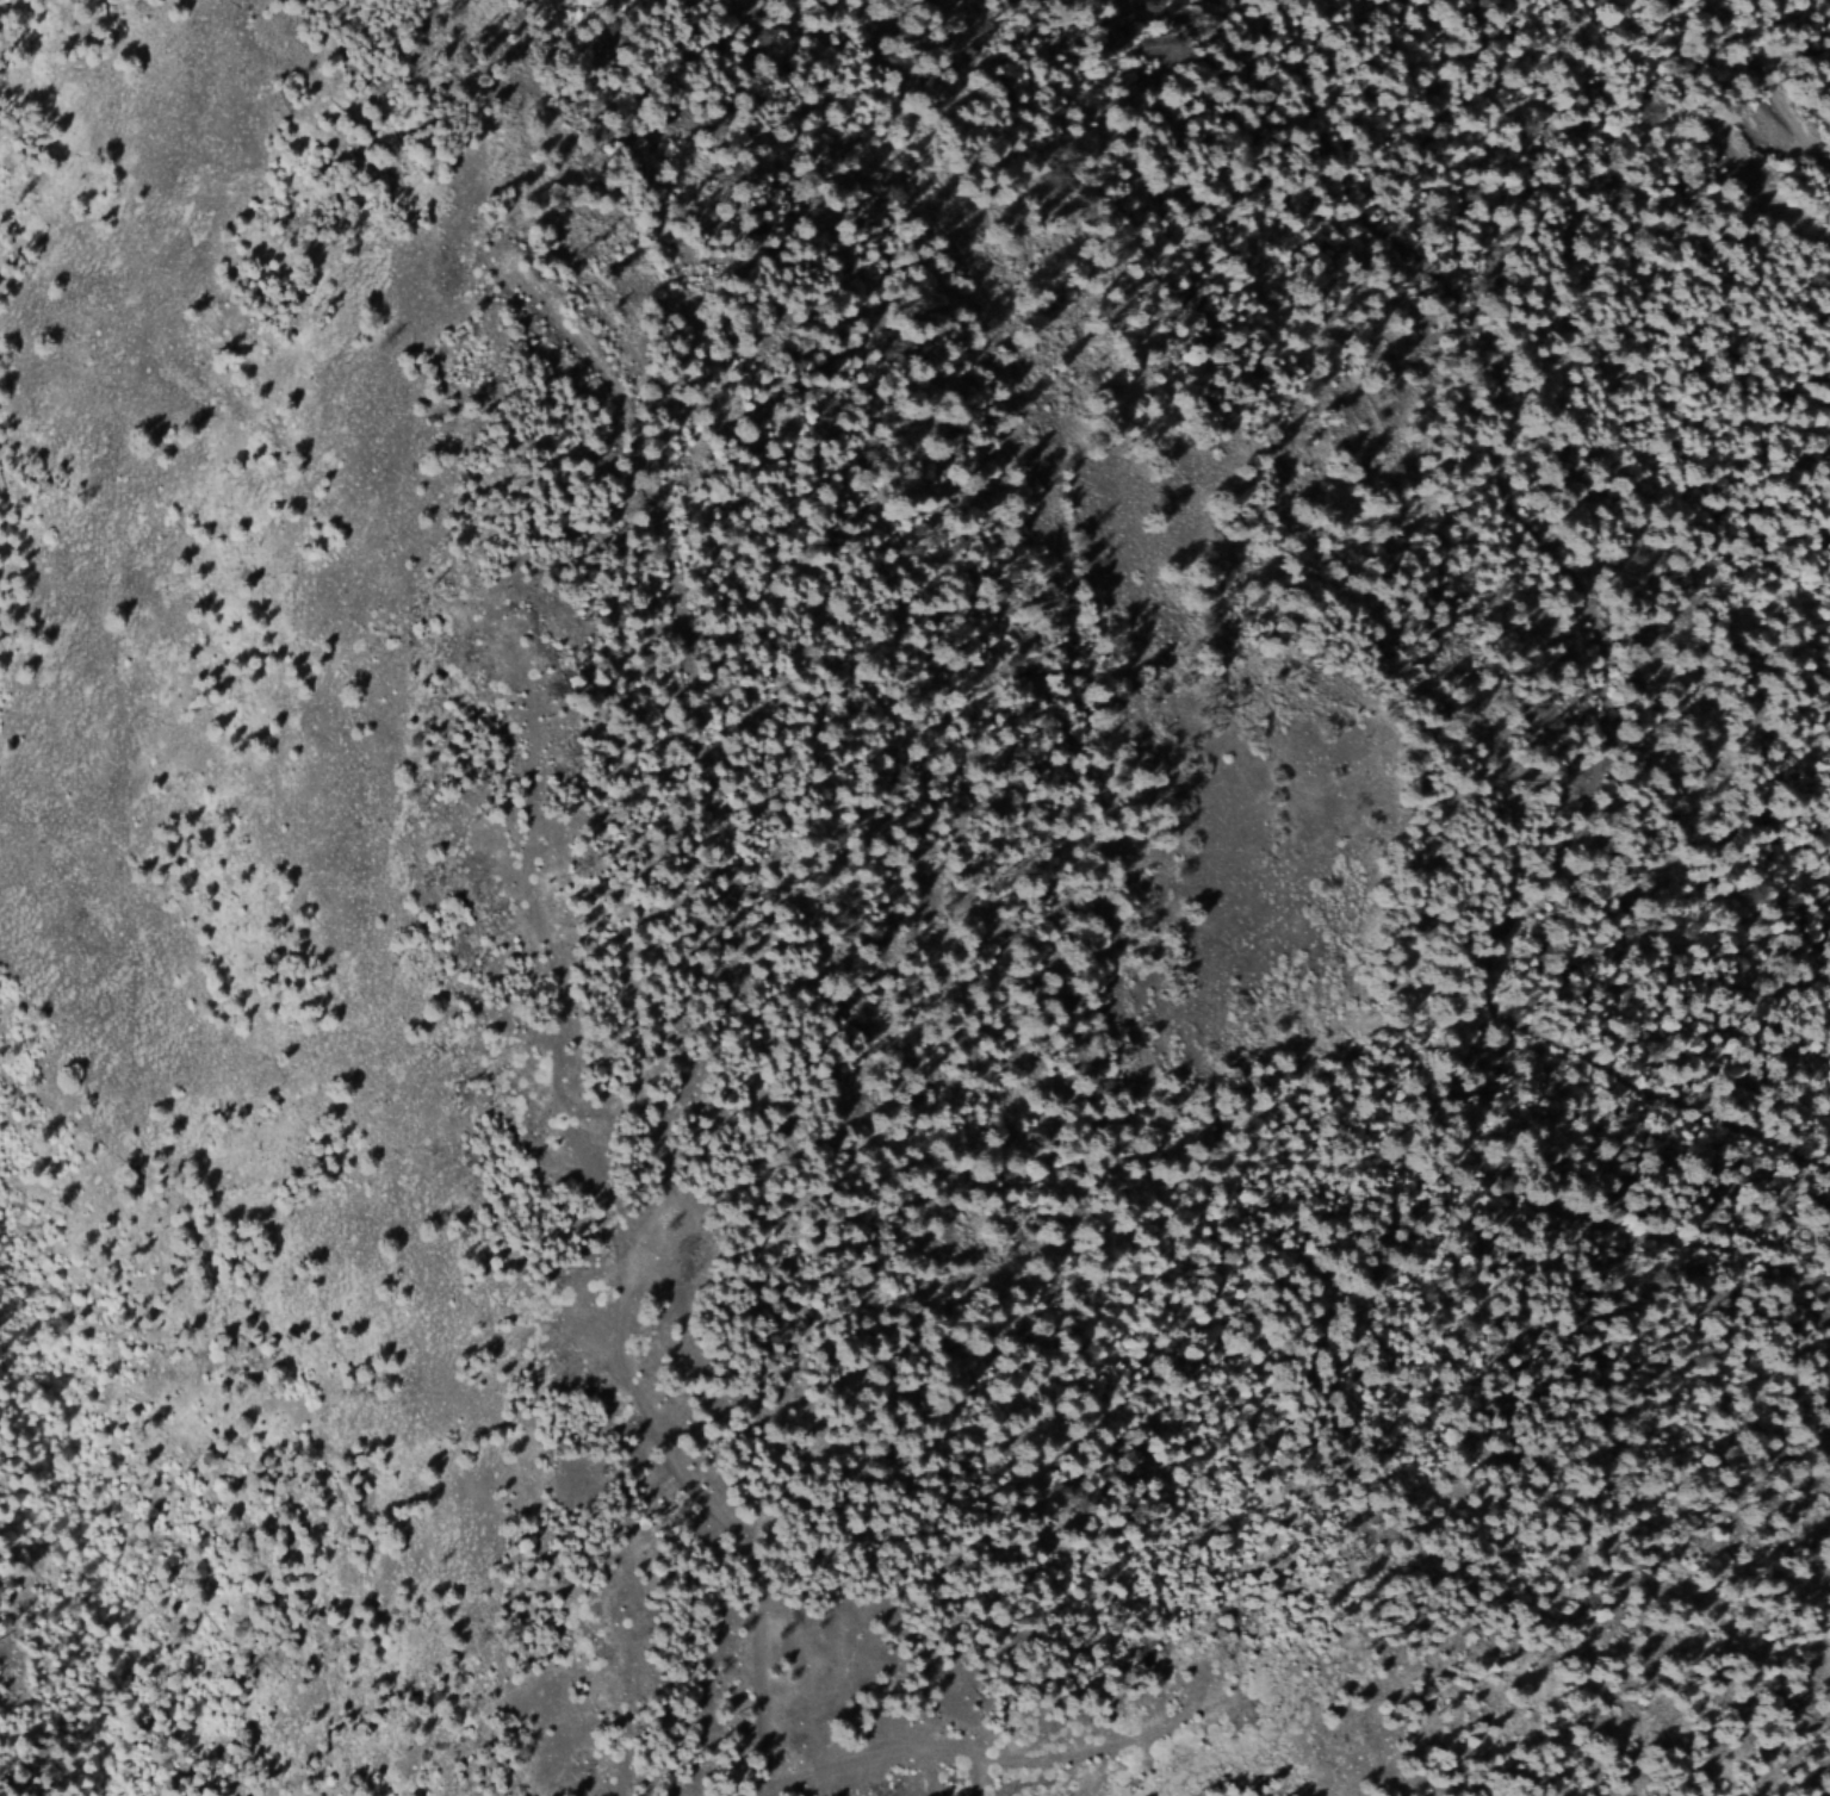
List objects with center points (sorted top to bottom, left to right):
road: (1769, 102)

